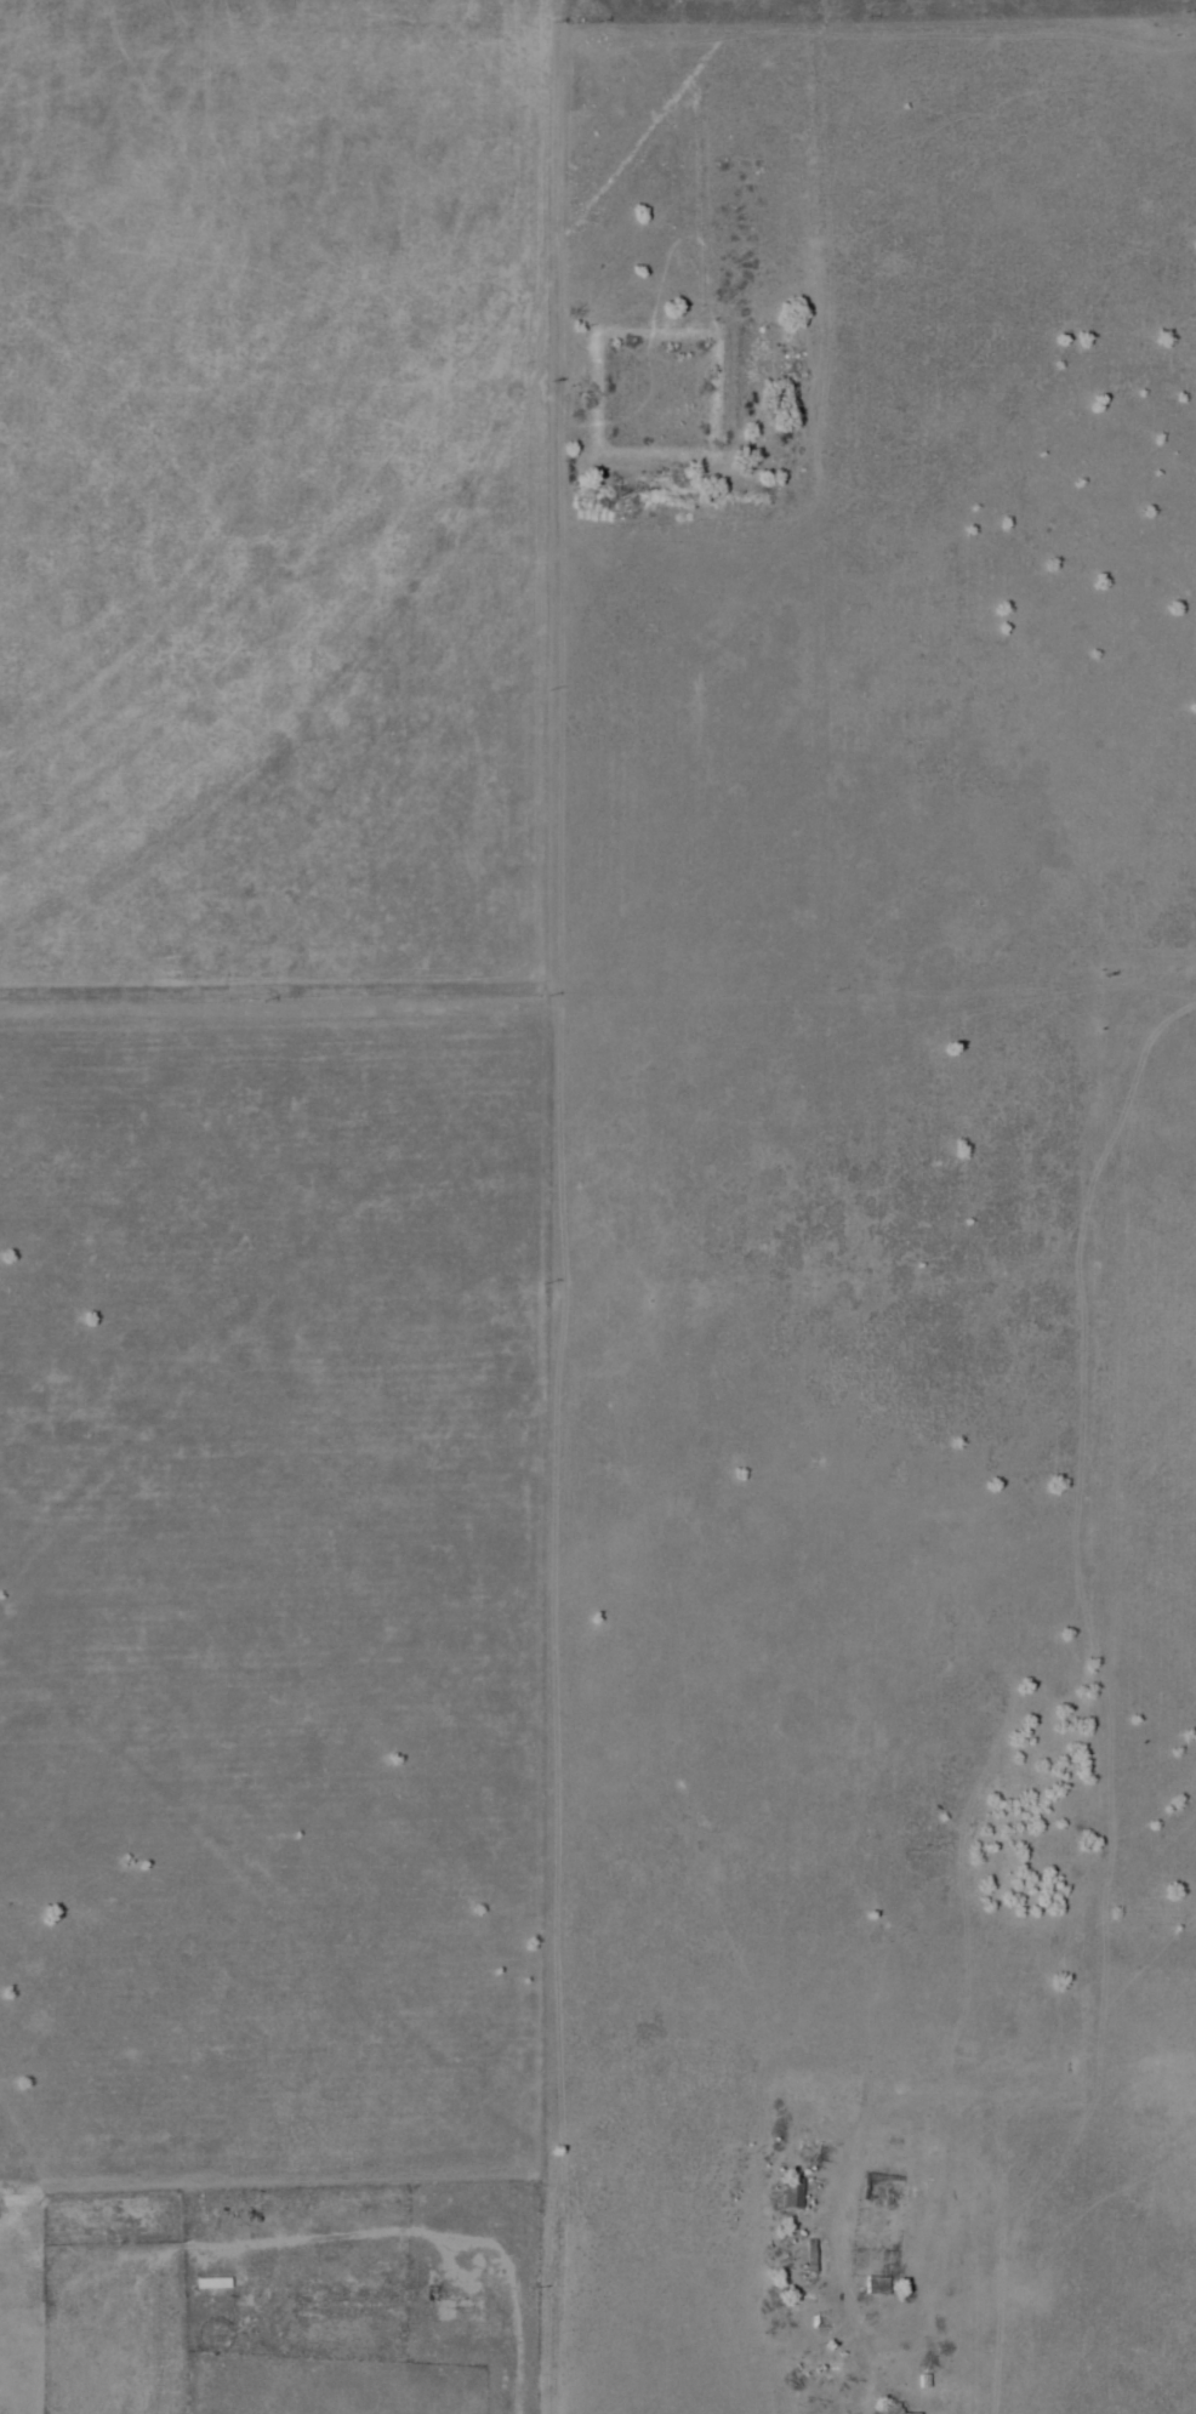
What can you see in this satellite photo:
road: (852, 2329)

